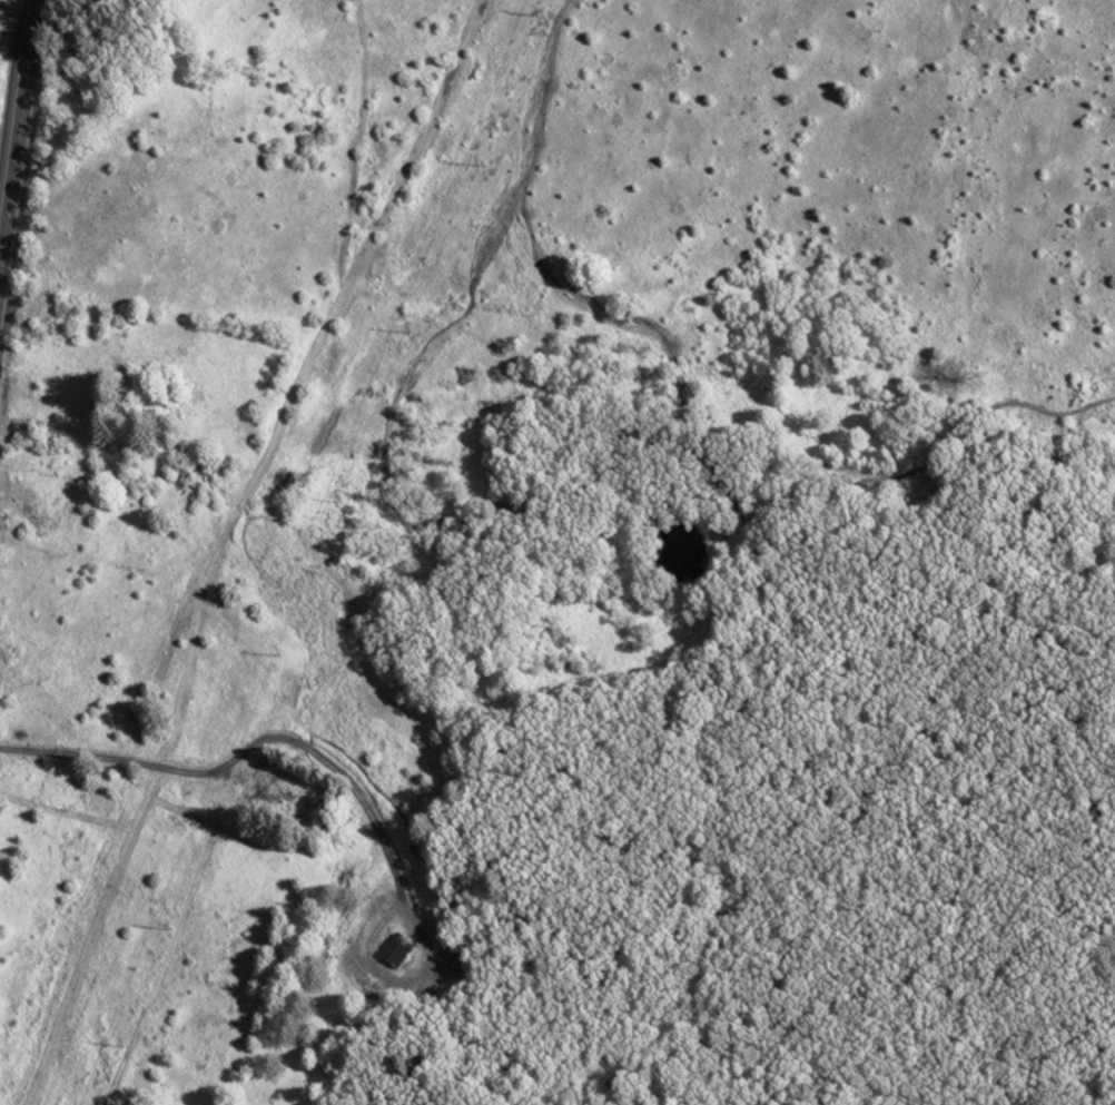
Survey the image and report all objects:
road: (17, 127)
building: (394, 949)

